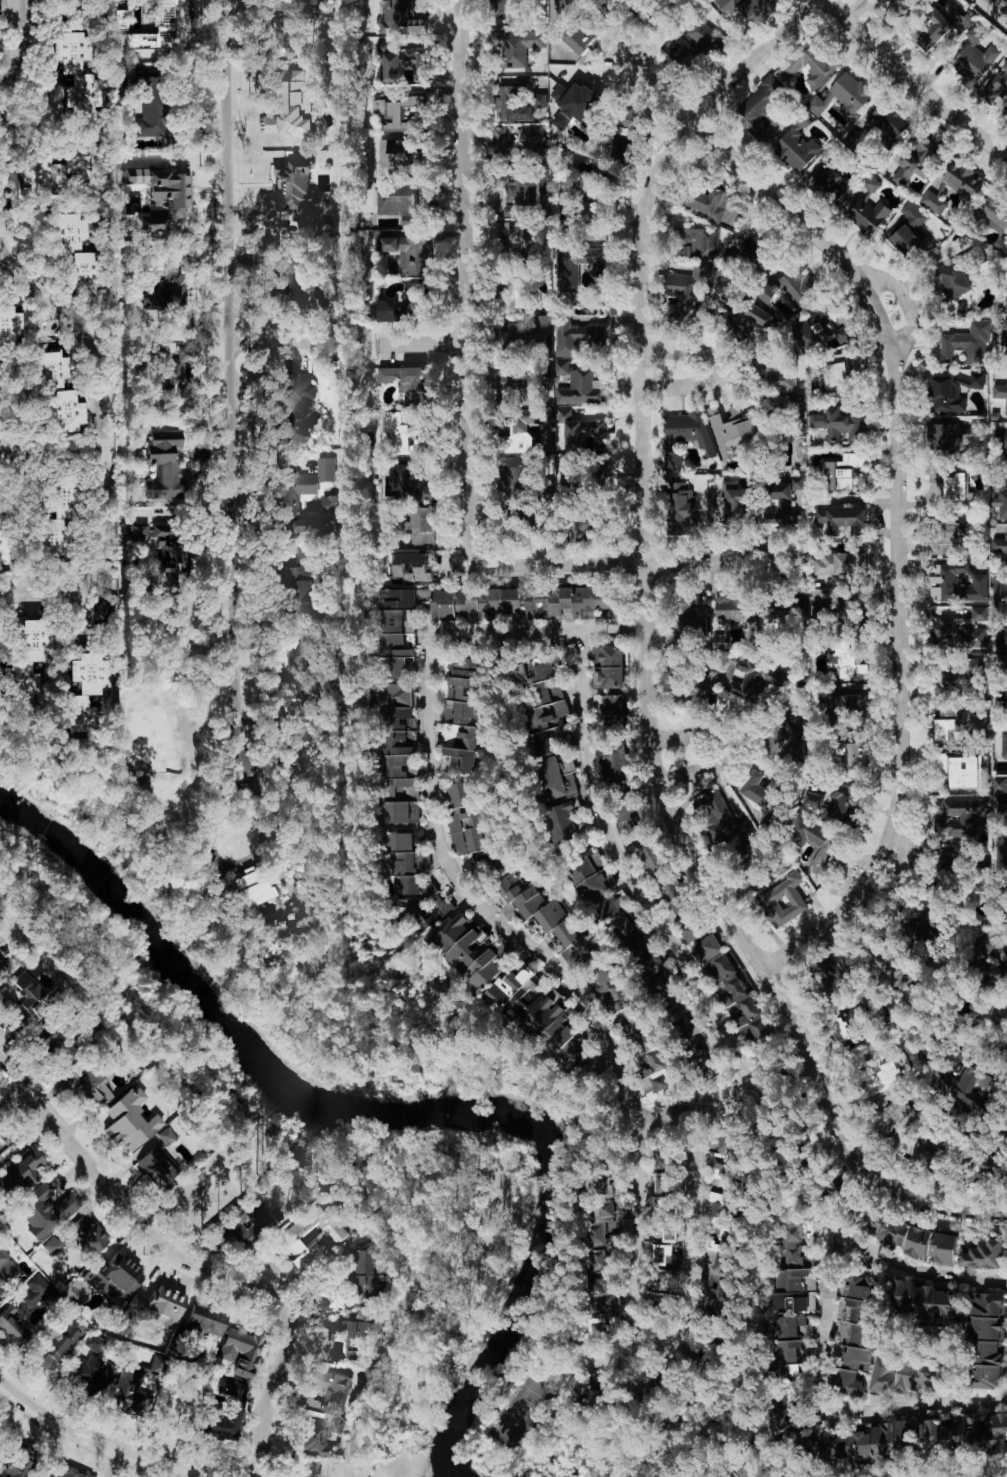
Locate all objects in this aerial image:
road: (11, 5)
building: (505, 13)
building: (165, 16)
building: (403, 17)
building: (121, 18)
building: (292, 18)
building: (937, 27)
building: (580, 35)
building: (699, 41)
building: (516, 45)
building: (974, 57)
building: (400, 63)
building: (811, 63)
building: (74, 69)
road: (9, 79)
road: (915, 82)
building: (996, 85)
building: (843, 97)
building: (517, 104)
building: (577, 104)
building: (290, 106)
building: (379, 107)
building: (761, 110)
building: (406, 115)
building: (157, 117)
building: (633, 124)
building: (885, 124)
building: (521, 146)
building: (797, 147)
building: (917, 159)
building: (60, 169)
building: (952, 185)
building: (526, 189)
building: (292, 191)
building: (564, 192)
building: (706, 199)
building: (399, 203)
building: (868, 208)
building: (913, 213)
building: (593, 224)
building: (511, 231)
building: (907, 241)
building: (700, 243)
building: (390, 244)
building: (756, 246)
building: (76, 250)
building: (416, 256)
building: (568, 271)
building: (959, 272)
building: (296, 279)
road: (464, 283)
building: (518, 288)
building: (791, 289)
building: (166, 292)
building: (686, 295)
road: (49, 297)
building: (404, 305)
building: (1006, 306)
building: (741, 318)
building: (823, 330)
building: (525, 335)
building: (575, 338)
building: (1004, 341)
road: (424, 344)
building: (968, 344)
road: (269, 346)
road: (720, 369)
building: (170, 374)
building: (837, 375)
building: (780, 377)
building: (406, 383)
road: (229, 389)
building: (581, 389)
building: (57, 391)
building: (953, 391)
building: (1000, 394)
building: (295, 401)
building: (840, 424)
building: (581, 430)
building: (735, 430)
building: (397, 433)
building: (685, 437)
building: (517, 438)
building: (944, 439)
building: (1000, 444)
road: (71, 451)
building: (852, 460)
building: (165, 466)
building: (515, 474)
building: (836, 477)
building: (410, 484)
building: (954, 487)
road: (899, 489)
building: (1000, 494)
building: (784, 499)
building: (291, 505)
building: (738, 506)
building: (680, 508)
building: (59, 515)
building: (842, 520)
building: (418, 525)
building: (583, 528)
building: (948, 536)
building: (1000, 547)
building: (4, 548)
building: (840, 563)
road: (640, 565)
building: (411, 566)
building: (301, 581)
building: (957, 583)
road: (39, 591)
building: (999, 596)
building: (400, 599)
building: (537, 600)
building: (104, 601)
building: (490, 601)
building: (585, 601)
building: (444, 604)
road: (85, 613)
building: (979, 614)
building: (732, 618)
building: (409, 621)
building: (775, 622)
building: (394, 634)
building: (1002, 648)
building: (295, 651)
road: (649, 653)
building: (26, 659)
building: (843, 661)
building: (610, 665)
building: (397, 667)
building: (754, 679)
building: (959, 679)
building: (704, 687)
building: (82, 688)
building: (1006, 700)
building: (547, 703)
building: (610, 709)
building: (851, 710)
building: (955, 721)
building: (147, 735)
building: (470, 737)
building: (782, 742)
building: (1004, 745)
road: (732, 747)
building: (400, 755)
building: (297, 756)
building: (852, 756)
building: (459, 760)
building: (613, 760)
building: (960, 769)
building: (558, 777)
building: (1000, 785)
building: (175, 794)
building: (764, 794)
building: (840, 804)
building: (630, 818)
building: (719, 819)
building: (959, 819)
building: (565, 820)
road: (218, 822)
building: (466, 824)
building: (818, 848)
building: (652, 857)
building: (946, 870)
road: (902, 872)
building: (591, 876)
building: (414, 882)
building: (250, 886)
building: (792, 894)
building: (615, 916)
building: (549, 920)
building: (924, 924)
building: (695, 930)
building: (638, 944)
building: (468, 951)
building: (886, 968)
building: (2, 970)
building: (29, 980)
building: (735, 994)
road: (585, 996)
building: (621, 999)
building: (539, 1013)
building: (857, 1019)
road: (720, 1020)
building: (685, 1025)
road: (775, 1063)
building: (886, 1075)
building: (68, 1079)
building: (659, 1079)
building: (94, 1085)
road: (782, 1085)
building: (970, 1091)
road: (693, 1103)
road: (51, 1112)
river: (390, 1112)
building: (896, 1116)
building: (129, 1120)
building: (166, 1136)
building: (926, 1156)
building: (663, 1159)
building: (722, 1159)
building: (997, 1160)
building: (156, 1169)
building: (20, 1172)
building: (664, 1183)
building: (45, 1209)
building: (608, 1212)
building: (663, 1218)
building: (869, 1221)
building: (240, 1222)
building: (723, 1229)
building: (314, 1233)
building: (894, 1233)
building: (88, 1234)
building: (55, 1242)
building: (918, 1243)
building: (945, 1249)
building: (983, 1256)
building: (664, 1261)
building: (7, 1270)
building: (797, 1271)
building: (365, 1273)
building: (115, 1276)
building: (602, 1283)
road: (263, 1288)
building: (36, 1291)
building: (717, 1295)
building: (930, 1302)
building: (661, 1307)
building: (153, 1309)
building: (206, 1321)
building: (14, 1326)
building: (793, 1326)
building: (596, 1330)
building: (360, 1336)
building: (62, 1339)
building: (987, 1340)
building: (94, 1342)
building: (240, 1350)
building: (790, 1351)
road: (629, 1356)
building: (786, 1374)
building: (91, 1376)
building: (883, 1377)
building: (653, 1380)
building: (850, 1383)
building: (587, 1390)
building: (328, 1392)
building: (224, 1409)
road: (825, 1411)
building: (781, 1413)
building: (912, 1425)
building: (960, 1429)
building: (997, 1431)
building: (317, 1436)
building: (929, 1437)
building: (863, 1442)
road: (121, 1449)
building: (19, 1462)
building: (68, 1472)
building: (734, 1475)

